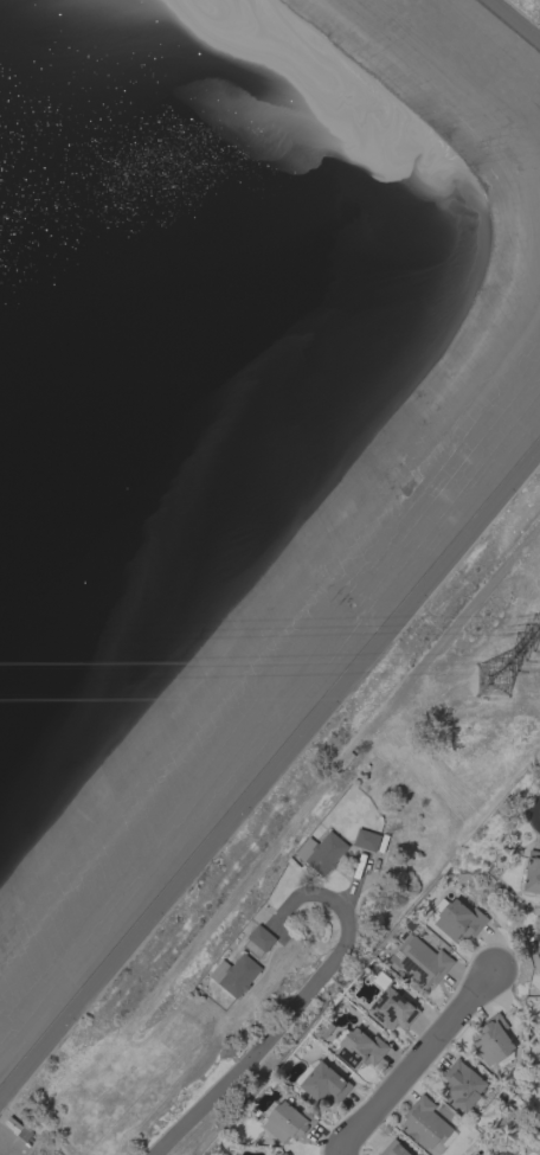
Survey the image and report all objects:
road: (515, 19)
road: (451, 630)
power tower: (490, 685)
building: (342, 764)
road: (270, 776)
building: (367, 840)
building: (322, 852)
building: (532, 877)
building: (458, 920)
building: (262, 938)
building: (419, 961)
building: (236, 975)
building: (381, 980)
road: (291, 1006)
building: (392, 1009)
building: (494, 1041)
building: (356, 1047)
road: (418, 1066)
building: (322, 1083)
building: (464, 1086)
building: (287, 1122)
building: (426, 1125)
building: (18, 1129)
building: (26, 1144)
building: (393, 1148)
building: (284, 1154)

